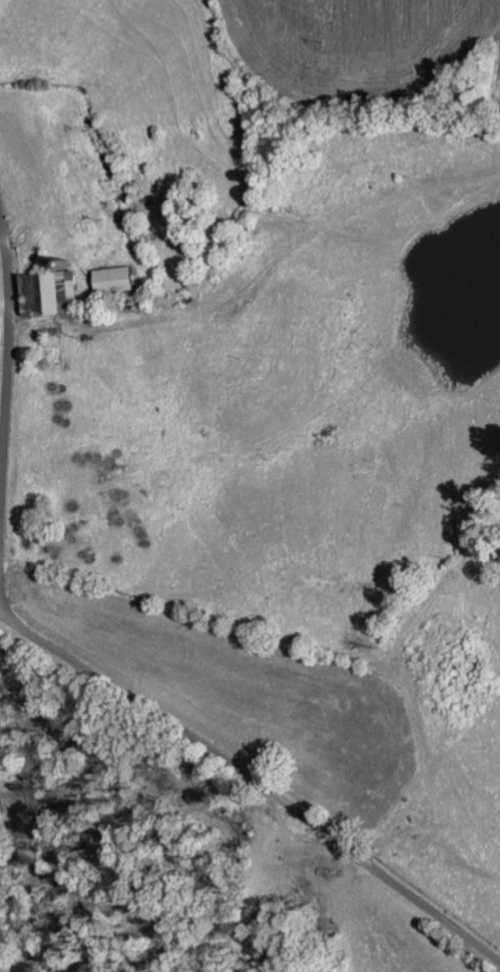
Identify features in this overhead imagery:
building: (120, 279)
building: (62, 292)
road: (3, 605)
road: (97, 680)

